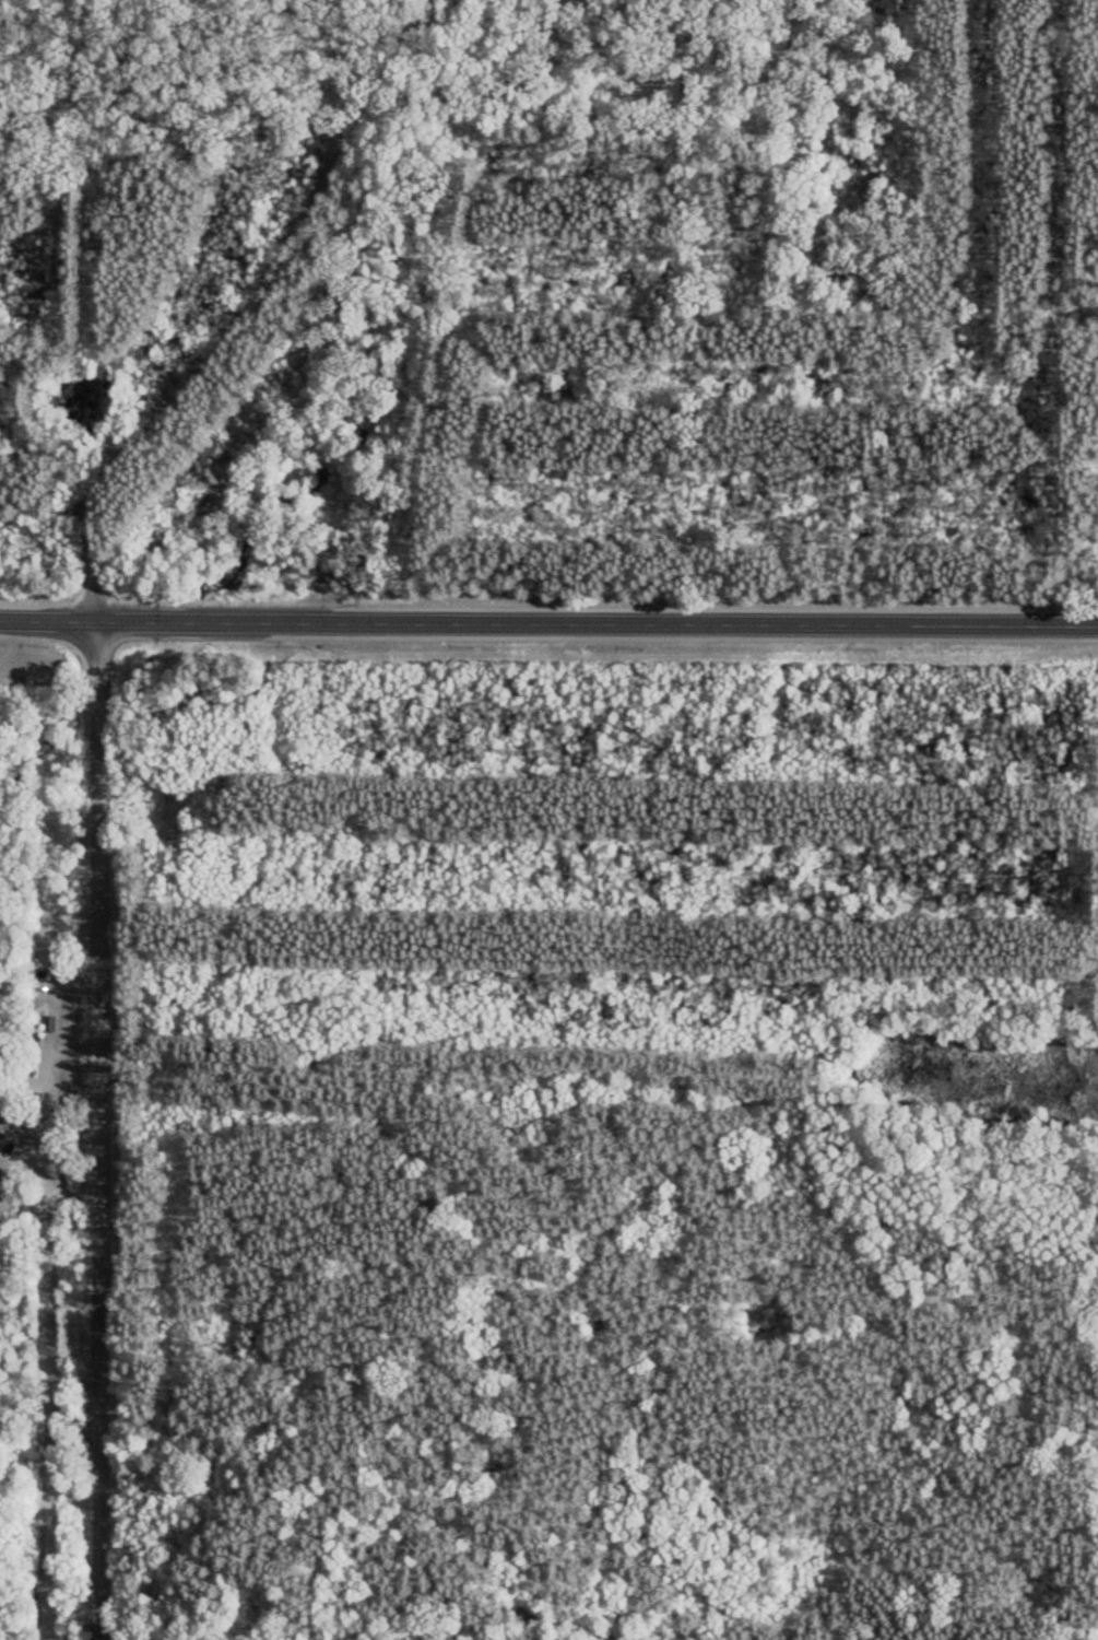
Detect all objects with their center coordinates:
road: (237, 317)
road: (43, 622)
road: (151, 623)
road: (657, 625)
road: (86, 682)
building: (3, 1117)
road: (87, 1191)

